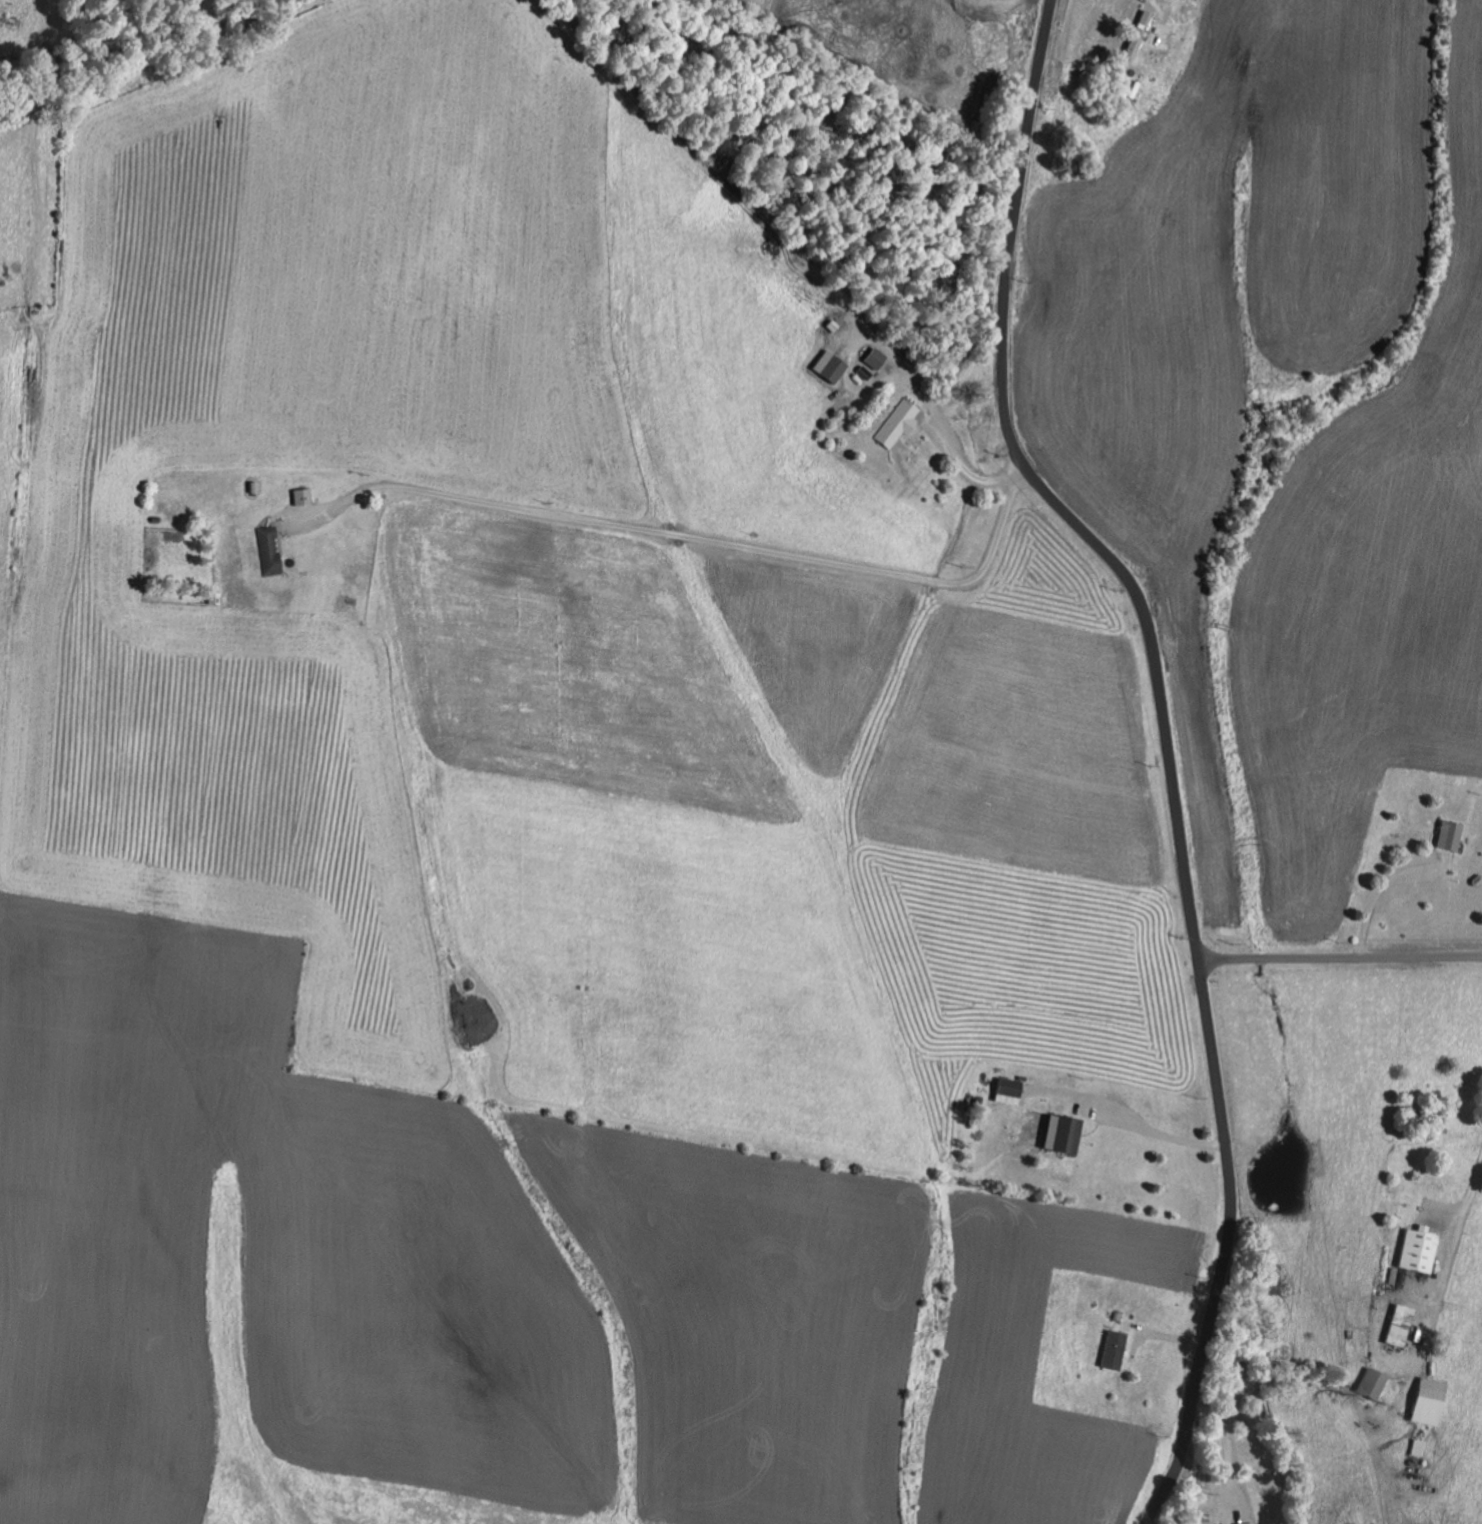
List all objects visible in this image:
building: (1136, 35)
building: (871, 359)
building: (826, 367)
road: (930, 406)
building: (896, 425)
building: (299, 497)
road: (694, 539)
building: (266, 551)
road: (1167, 743)
building: (1446, 836)
road: (1377, 895)
road: (1340, 960)
building: (1006, 1091)
road: (1152, 1131)
building: (1060, 1134)
building: (1415, 1251)
road: (1447, 1259)
building: (1396, 1325)
building: (1111, 1350)
building: (1369, 1384)
building: (1425, 1402)
road: (1227, 1450)
building: (1247, 1523)

